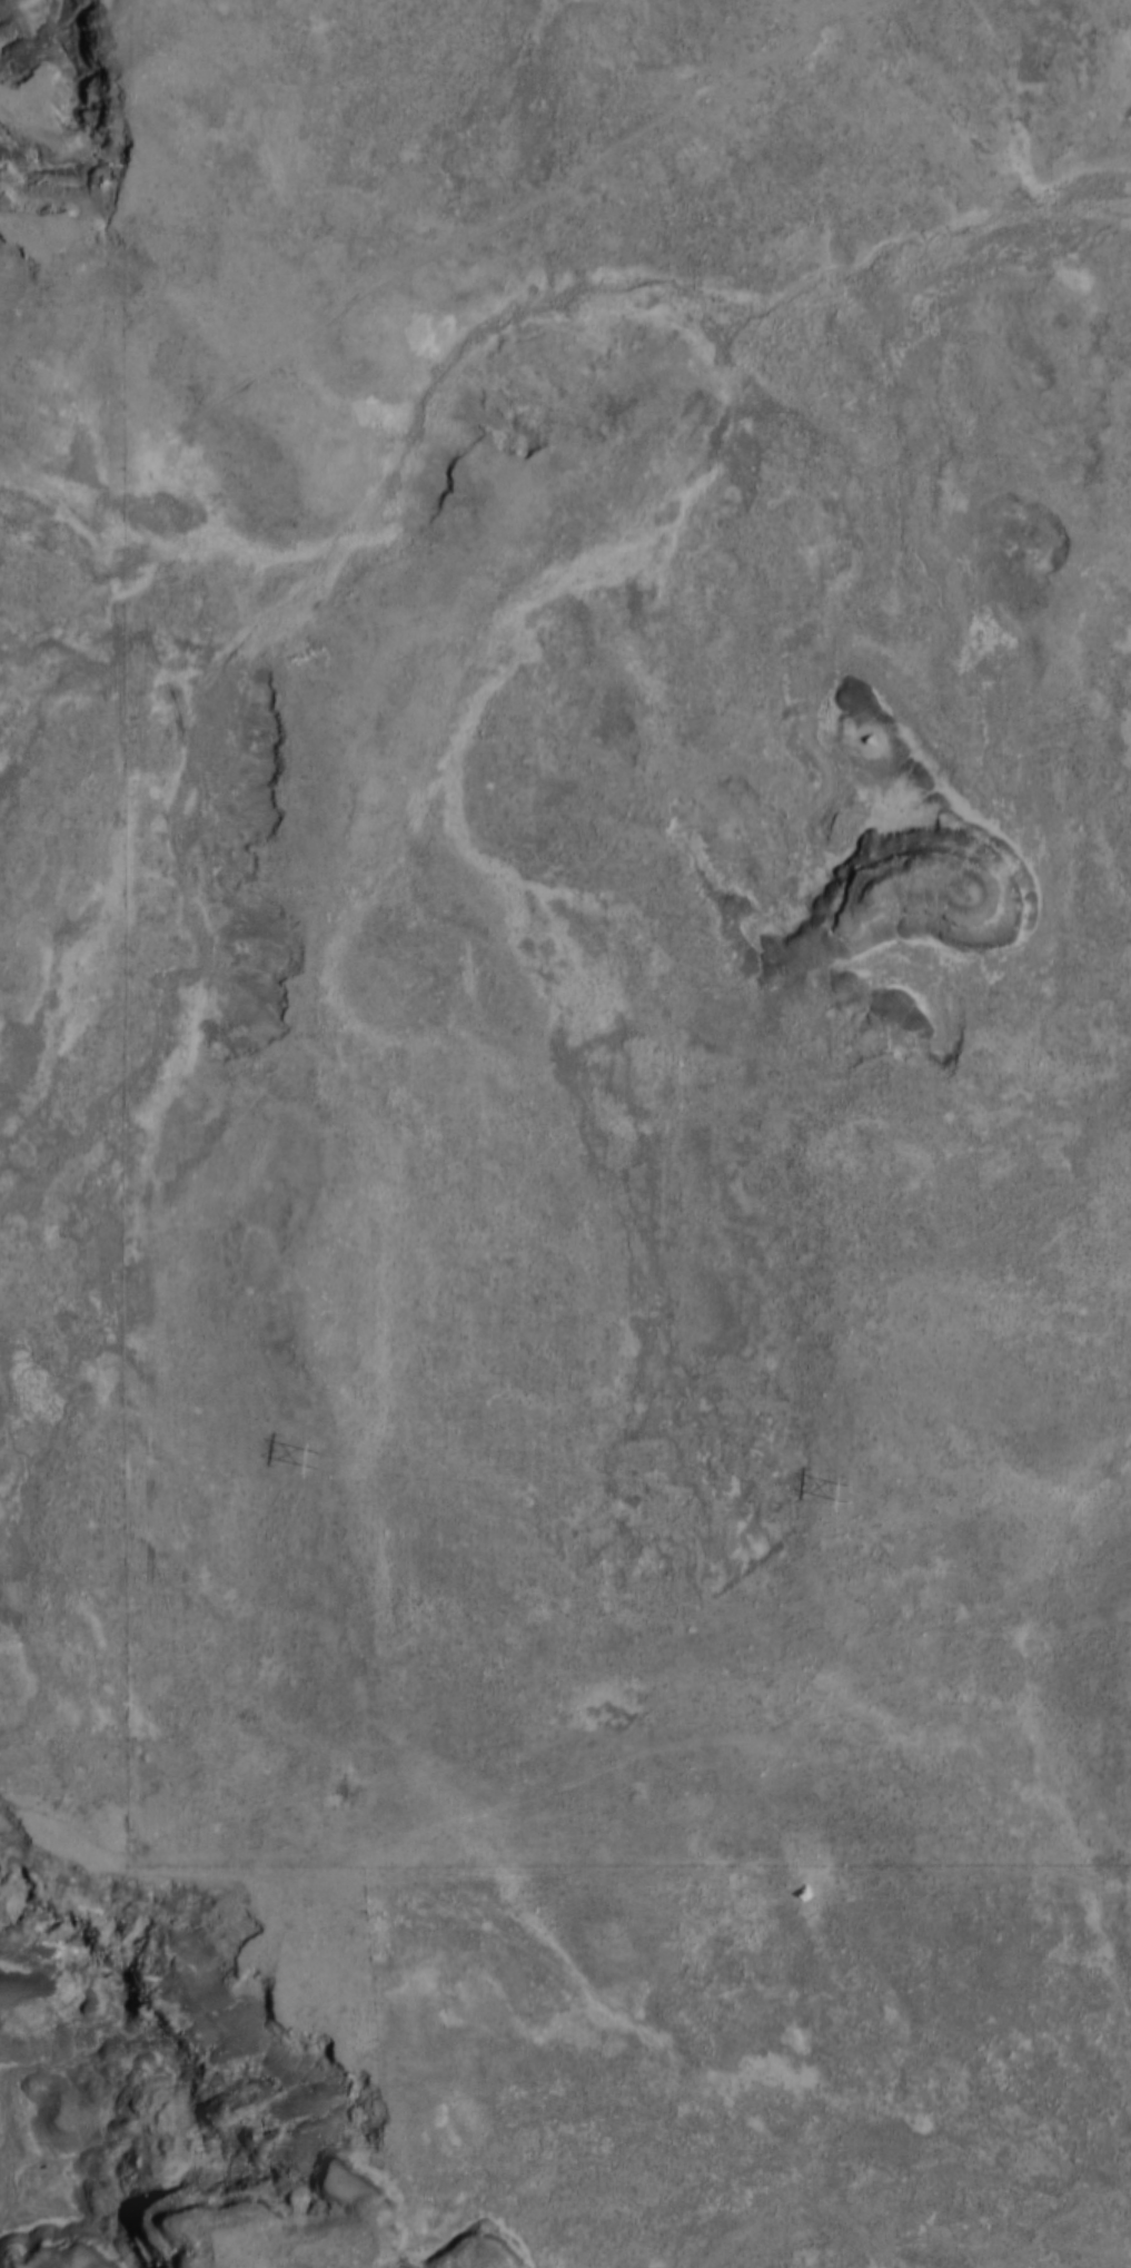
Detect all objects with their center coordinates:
road: (429, 260)
power tower: (318, 1459)
power tower: (853, 1495)

